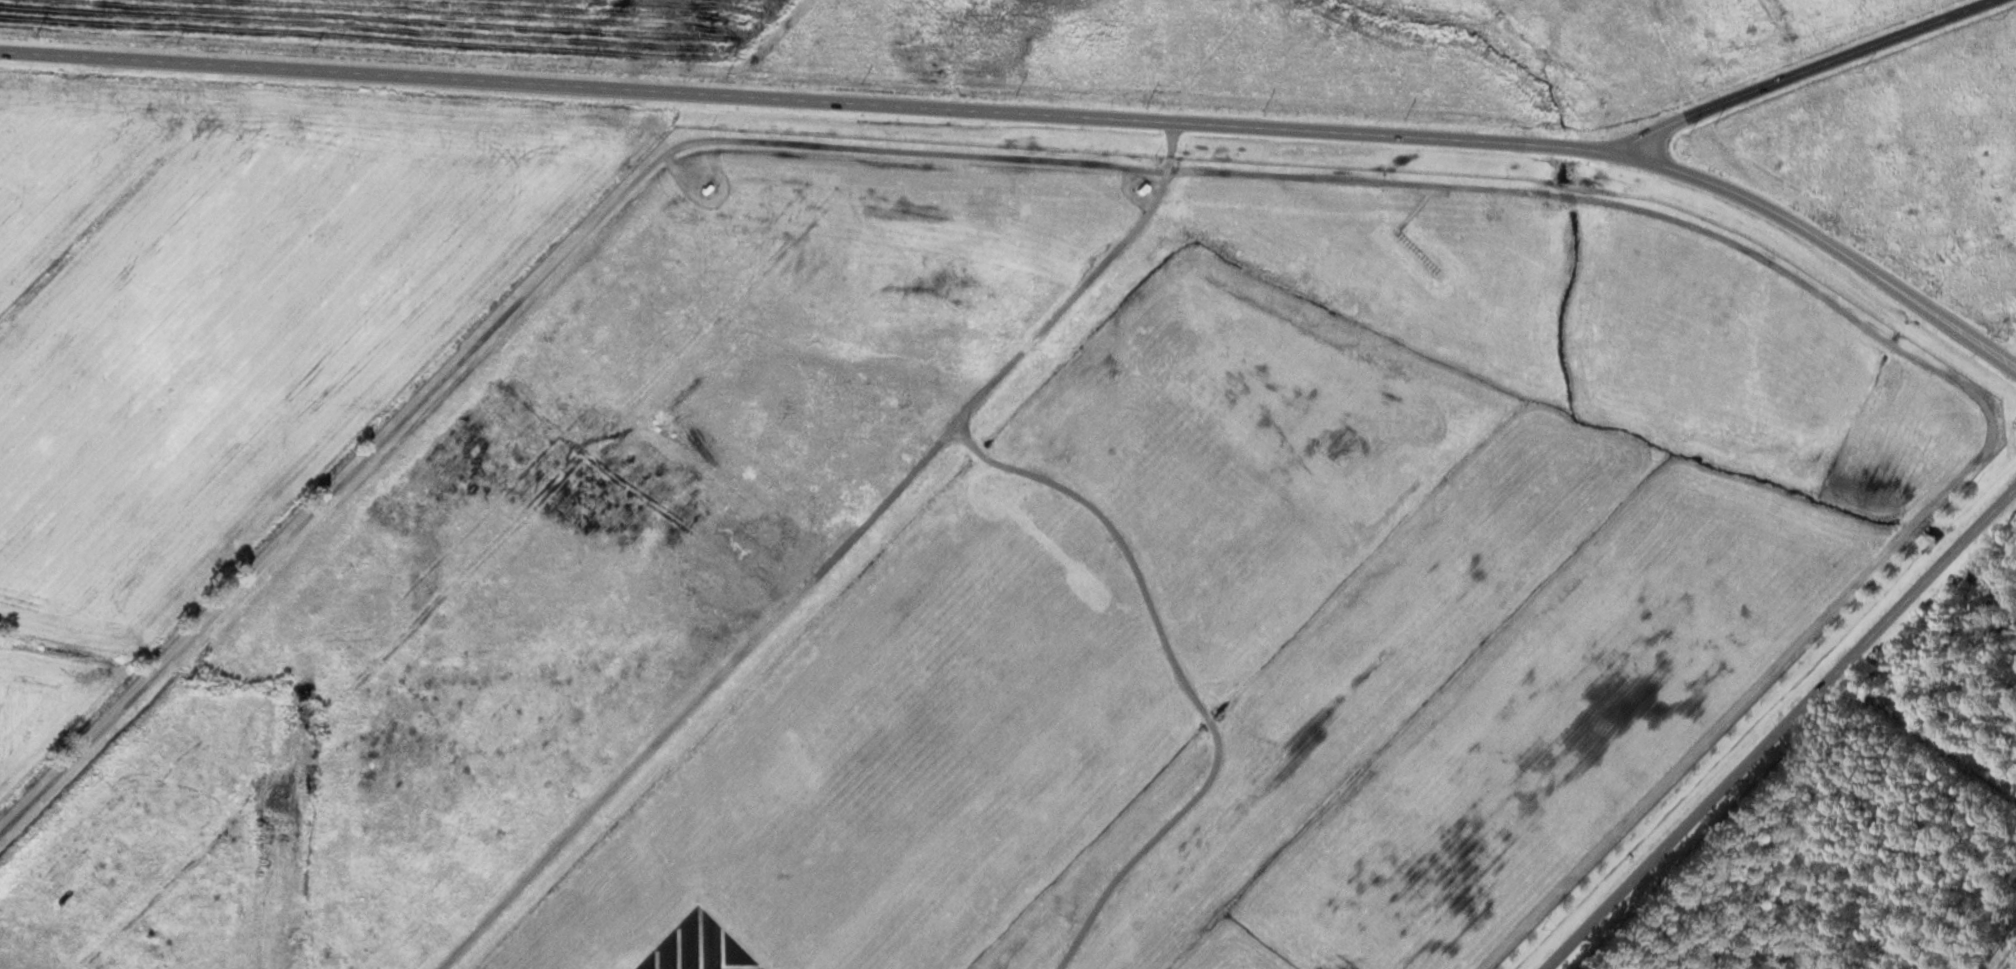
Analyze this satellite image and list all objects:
road: (1801, 70)
road: (811, 97)
road: (1150, 209)
road: (1826, 243)
road: (508, 312)
crop: (228, 332)
road: (1944, 373)
airport: (1032, 585)
road: (765, 626)
road: (1182, 676)
road: (1930, 723)
road: (1780, 728)
road: (266, 899)

